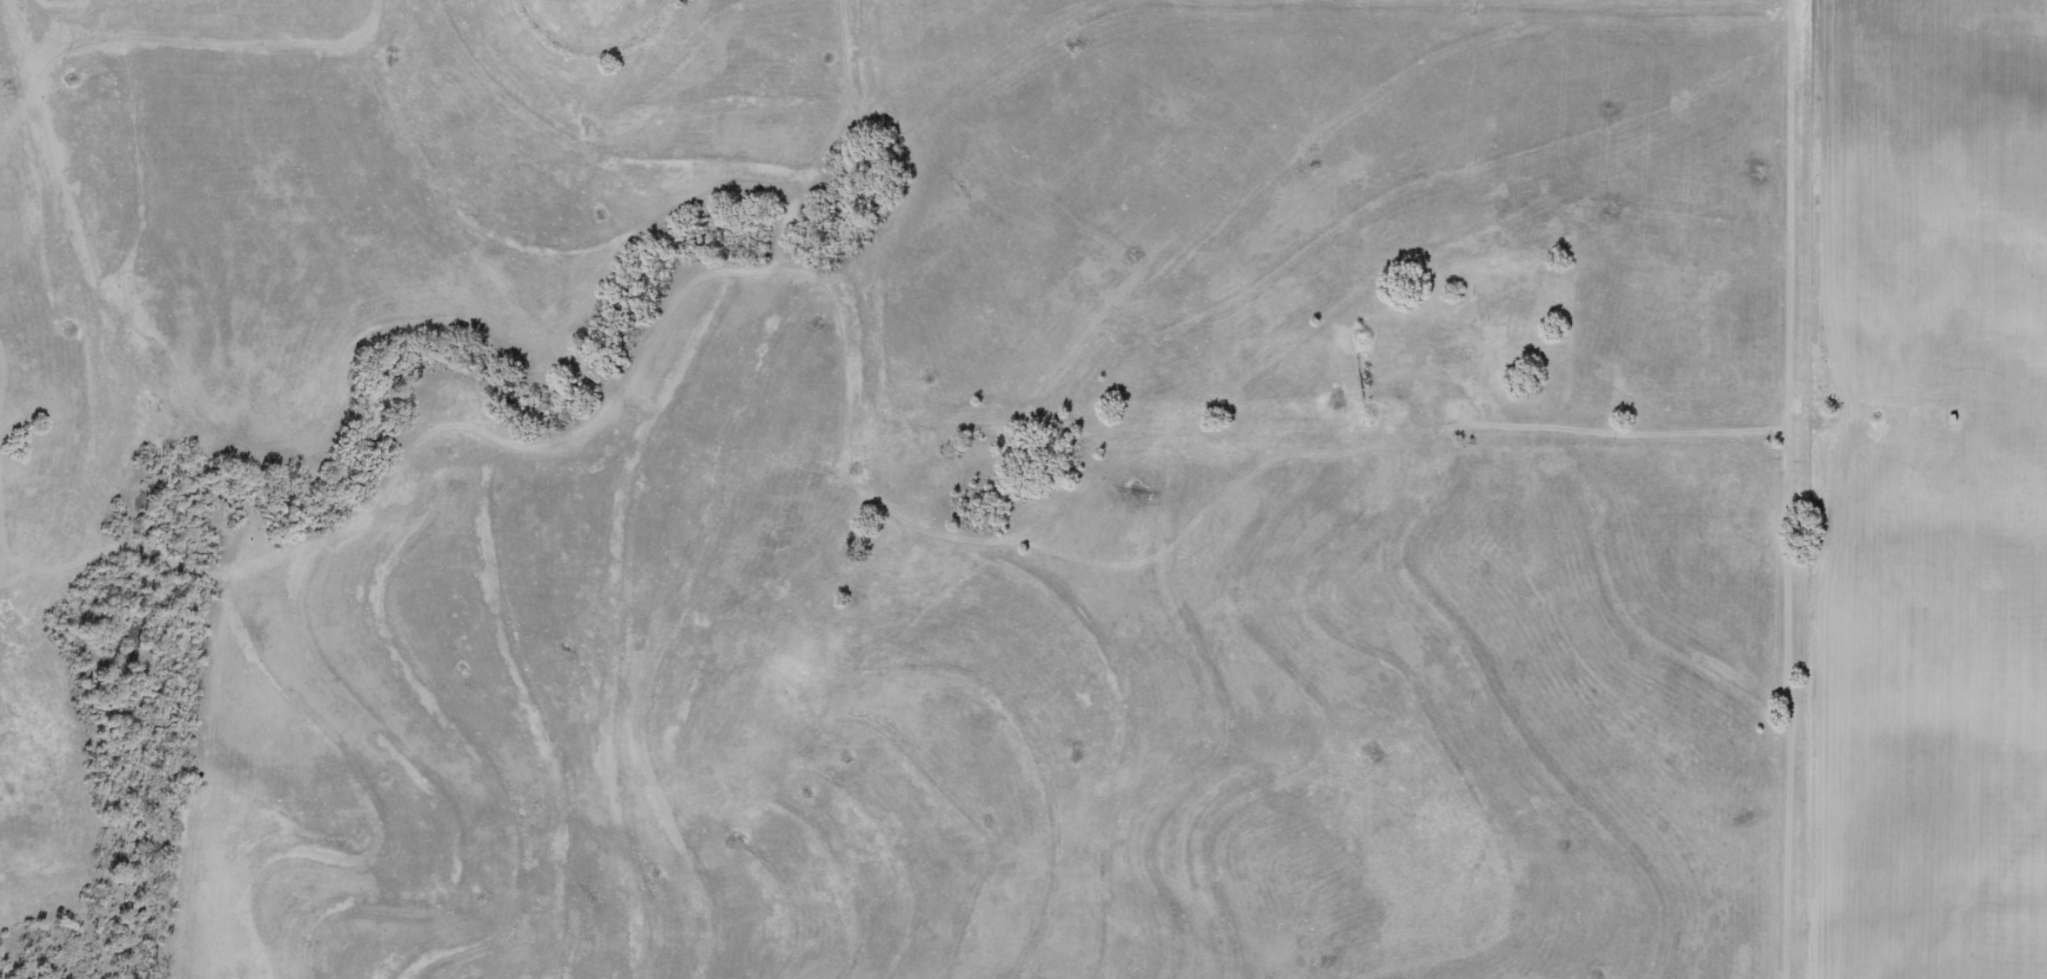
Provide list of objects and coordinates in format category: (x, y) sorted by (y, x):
road: (1817, 489)

